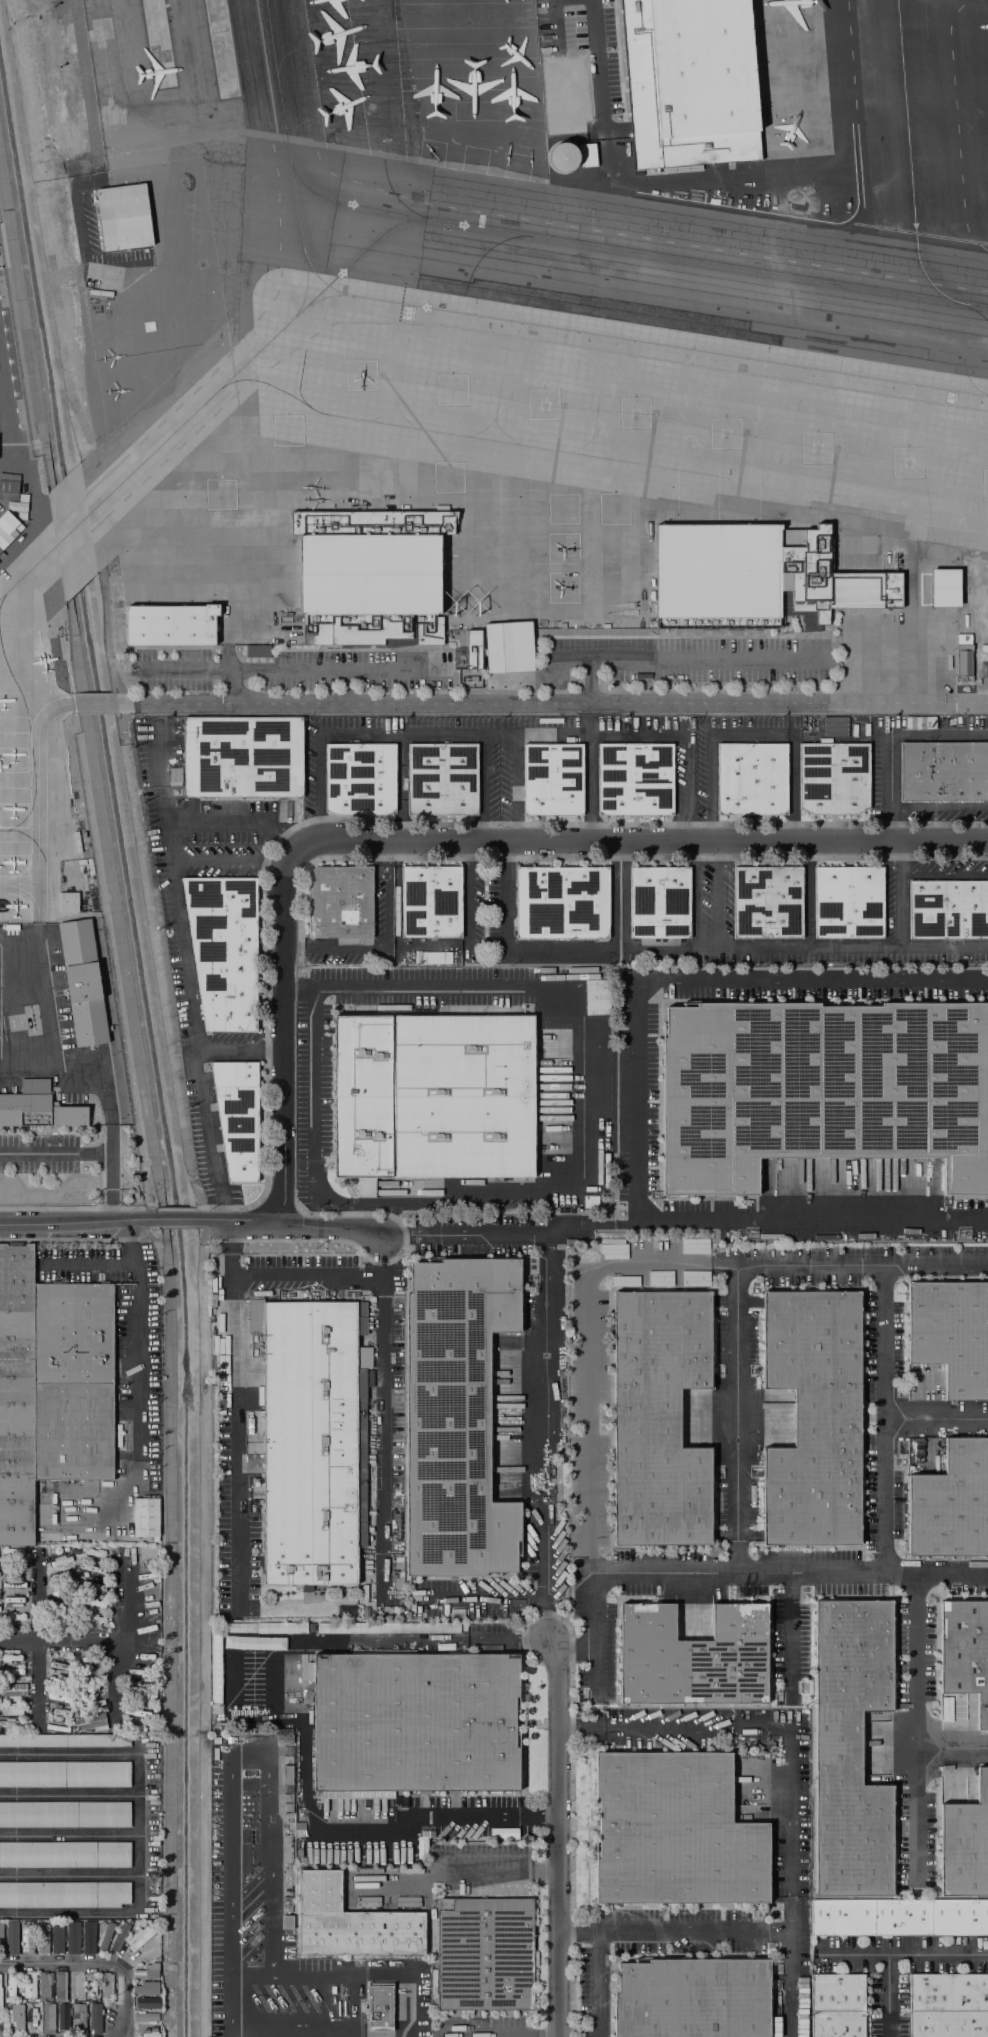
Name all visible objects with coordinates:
road: (597, 69)
road: (40, 81)
road: (22, 90)
building: (845, 115)
airport hangar: (123, 217)
building: (123, 217)
airport taxiway: (540, 245)
airport taxiway: (313, 301)
airport taxiway: (651, 345)
airport taxiway: (245, 361)
airport: (482, 369)
helipad: (361, 382)
helipad: (453, 396)
helipad: (541, 408)
helipad: (635, 417)
helipad: (287, 434)
helipad: (723, 438)
helipad: (816, 452)
airport taxiway: (594, 459)
helipad: (907, 467)
helipad: (449, 481)
airport hangar: (9, 485)
building: (9, 485)
helipad: (220, 496)
airport hangar: (19, 505)
building: (19, 505)
helipad: (616, 513)
helipad: (563, 515)
airport hangar: (8, 527)
building: (8, 527)
airport taxiway: (71, 532)
helipad: (566, 554)
airport taxiway: (27, 574)
building: (370, 577)
building: (756, 578)
building: (945, 588)
helipad: (564, 596)
building: (171, 625)
building: (508, 638)
building: (473, 642)
building: (963, 644)
building: (258, 651)
road: (685, 657)
building: (473, 662)
building: (509, 663)
building: (964, 668)
building: (985, 669)
road: (189, 670)
road: (320, 671)
road: (345, 688)
airport apron: (13, 705)
road: (92, 705)
road: (552, 705)
road: (123, 710)
building: (834, 726)
road: (503, 732)
road: (711, 736)
road: (887, 736)
building: (242, 757)
building: (944, 771)
parking lot: (161, 772)
building: (174, 775)
parking lot: (706, 775)
building: (360, 778)
building: (833, 778)
building: (443, 779)
building: (553, 779)
building: (635, 779)
building: (752, 779)
road: (483, 786)
road: (514, 786)
road: (793, 789)
road: (891, 789)
road: (186, 821)
road: (696, 825)
road: (753, 825)
road: (795, 825)
road: (841, 825)
road: (892, 825)
road: (946, 825)
road: (711, 827)
road: (640, 842)
road: (269, 853)
road: (387, 854)
road: (601, 858)
road: (227, 862)
road: (944, 878)
road: (620, 897)
road: (696, 897)
road: (717, 897)
road: (808, 897)
road: (899, 897)
building: (68, 901)
building: (341, 902)
building: (431, 902)
building: (562, 902)
building: (660, 902)
building: (768, 902)
building: (849, 902)
building: (948, 909)
road: (432, 947)
road: (155, 948)
building: (224, 950)
road: (292, 952)
road: (387, 952)
road: (691, 952)
parking lot: (180, 956)
road: (188, 975)
building: (83, 982)
parking lot: (824, 986)
road: (551, 988)
road: (282, 1030)
building: (822, 1089)
building: (432, 1097)
road: (638, 1099)
building: (39, 1111)
building: (237, 1116)
road: (87, 1153)
parking lot: (211, 1154)
road: (216, 1162)
road: (199, 1199)
road: (79, 1209)
road: (176, 1209)
road: (182, 1218)
road: (80, 1221)
road: (291, 1221)
road: (203, 1231)
road: (496, 1236)
road: (635, 1263)
road: (101, 1265)
road: (275, 1281)
road: (142, 1325)
building: (951, 1334)
building: (50, 1387)
building: (455, 1417)
building: (813, 1417)
building: (659, 1418)
road: (736, 1419)
road: (883, 1419)
road: (935, 1421)
road: (383, 1422)
road: (545, 1436)
building: (313, 1444)
road: (237, 1448)
building: (914, 1449)
building: (951, 1503)
building: (145, 1518)
building: (56, 1551)
building: (74, 1551)
building: (11, 1552)
building: (94, 1553)
building: (60, 1562)
building: (1, 1568)
building: (15, 1569)
building: (89, 1569)
road: (788, 1574)
building: (60, 1577)
building: (13, 1585)
building: (94, 1587)
building: (61, 1593)
road: (37, 1596)
road: (125, 1596)
building: (12, 1600)
road: (483, 1601)
building: (91, 1602)
building: (64, 1608)
building: (15, 1617)
building: (94, 1619)
building: (66, 1623)
building: (389, 1627)
building: (281, 1631)
road: (595, 1634)
road: (790, 1636)
road: (202, 1640)
road: (70, 1641)
road: (391, 1642)
road: (573, 1650)
building: (965, 1652)
building: (139, 1656)
building: (693, 1656)
building: (12, 1658)
building: (92, 1658)
building: (273, 1664)
building: (59, 1667)
building: (221, 1671)
building: (309, 1671)
building: (139, 1672)
building: (10, 1673)
building: (91, 1673)
building: (58, 1682)
road: (37, 1685)
road: (114, 1685)
building: (90, 1689)
building: (12, 1691)
building: (138, 1694)
building: (58, 1698)
building: (90, 1705)
building: (15, 1708)
building: (57, 1713)
building: (136, 1713)
building: (415, 1722)
building: (8, 1723)
building: (90, 1723)
building: (56, 1728)
building: (133, 1729)
road: (916, 1729)
building: (65, 1740)
building: (216, 1740)
building: (285, 1740)
building: (851, 1747)
road: (952, 1750)
road: (232, 1752)
road: (790, 1766)
building: (65, 1774)
building: (288, 1775)
road: (69, 1794)
road: (571, 1797)
building: (65, 1814)
road: (478, 1817)
road: (139, 1829)
building: (675, 1832)
road: (69, 1834)
road: (557, 1836)
building: (965, 1844)
building: (65, 1854)
road: (474, 1873)
road: (69, 1875)
building: (64, 1894)
building: (899, 1917)
building: (287, 1922)
building: (351, 1922)
road: (674, 1932)
building: (105, 1933)
building: (74, 1935)
building: (120, 1935)
building: (28, 1936)
building: (138, 1936)
building: (88, 1937)
building: (1, 1938)
building: (11, 1938)
building: (58, 1938)
building: (43, 1939)
building: (485, 1953)
road: (900, 1956)
road: (96, 1963)
building: (147, 1970)
road: (353, 1973)
building: (12, 1984)
road: (598, 1984)
building: (59, 1985)
building: (46, 1986)
building: (106, 1986)
building: (28, 1987)
building: (74, 1987)
building: (146, 1987)
road: (889, 1996)
building: (693, 1998)
building: (0, 2000)
building: (147, 2002)
building: (838, 2005)
building: (949, 2005)
building: (380, 2007)
building: (62, 2016)
building: (16, 2017)
building: (48, 2017)
building: (79, 2017)
building: (33, 2018)
building: (96, 2019)
building: (150, 2019)
road: (519, 2036)

